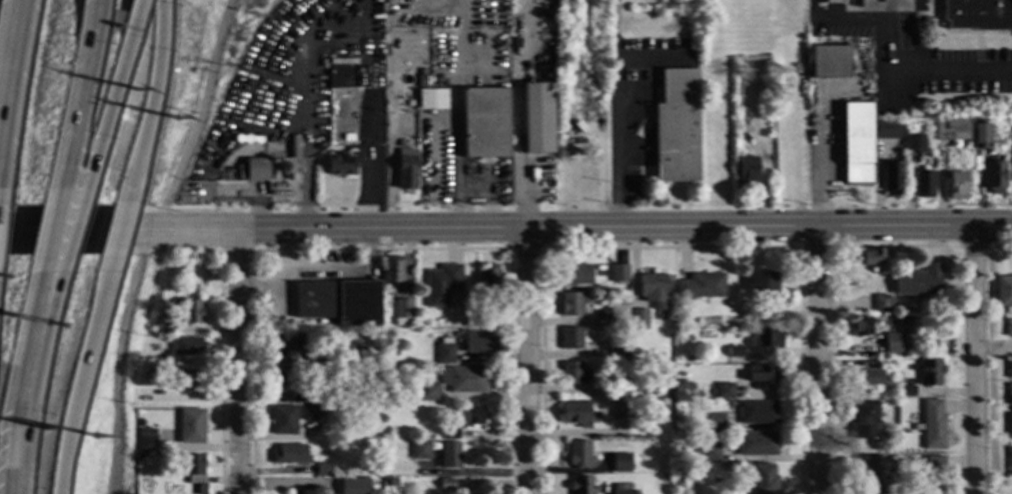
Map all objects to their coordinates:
road: (134, 13)
building: (978, 14)
road: (11, 61)
building: (828, 62)
road: (892, 73)
building: (337, 77)
building: (421, 82)
road: (80, 89)
power tower: (136, 91)
building: (431, 99)
road: (106, 105)
road: (151, 105)
power tower: (177, 118)
road: (198, 118)
road: (306, 119)
building: (537, 119)
building: (571, 120)
building: (911, 121)
building: (484, 122)
building: (745, 124)
building: (676, 127)
building: (927, 127)
building: (888, 129)
building: (950, 130)
road: (457, 132)
building: (980, 133)
building: (352, 142)
road: (612, 142)
building: (857, 143)
building: (914, 143)
building: (400, 144)
road: (820, 163)
building: (339, 165)
building: (256, 169)
building: (405, 169)
building: (746, 171)
building: (892, 178)
building: (993, 178)
building: (584, 181)
building: (922, 183)
building: (956, 186)
road: (279, 191)
road: (590, 230)
road: (84, 233)
road: (115, 244)
road: (970, 247)
road: (50, 249)
road: (61, 253)
building: (869, 258)
building: (391, 269)
building: (618, 273)
building: (574, 275)
building: (487, 279)
building: (761, 281)
building: (919, 281)
building: (441, 285)
building: (700, 286)
building: (653, 290)
building: (1003, 293)
building: (338, 302)
building: (570, 304)
building: (881, 304)
road: (829, 307)
building: (191, 312)
building: (401, 312)
building: (617, 314)
building: (637, 320)
building: (753, 320)
building: (470, 321)
building: (487, 321)
building: (681, 321)
building: (151, 325)
building: (860, 326)
building: (1008, 328)
building: (376, 338)
building: (572, 338)
building: (766, 339)
building: (322, 341)
building: (479, 343)
building: (893, 343)
building: (287, 344)
building: (186, 346)
building: (618, 349)
road: (994, 349)
building: (734, 351)
building: (444, 352)
road: (987, 357)
building: (152, 359)
road: (976, 360)
road: (119, 362)
road: (237, 362)
road: (528, 362)
road: (815, 362)
building: (878, 363)
building: (1009, 368)
building: (929, 372)
building: (139, 374)
building: (572, 374)
building: (682, 375)
building: (761, 375)
building: (622, 376)
building: (869, 378)
building: (189, 379)
building: (387, 379)
building: (464, 379)
building: (279, 382)
road: (78, 386)
building: (618, 390)
building: (905, 390)
building: (724, 391)
building: (424, 392)
building: (1009, 394)
building: (310, 396)
road: (21, 406)
building: (343, 409)
building: (638, 409)
building: (619, 411)
building: (310, 412)
building: (757, 412)
building: (575, 414)
building: (473, 416)
building: (863, 419)
building: (283, 420)
building: (713, 422)
building: (1009, 423)
building: (932, 425)
building: (191, 426)
power tower: (45, 431)
building: (449, 434)
power tower: (98, 438)
building: (146, 440)
building: (664, 444)
building: (755, 444)
building: (653, 450)
building: (889, 450)
building: (419, 451)
building: (707, 452)
building: (578, 454)
building: (290, 455)
building: (449, 455)
building: (693, 455)
building: (152, 457)
building: (137, 458)
building: (635, 458)
building: (892, 460)
building: (620, 463)
building: (1009, 463)
building: (128, 464)
building: (934, 465)
building: (192, 468)
building: (323, 469)
building: (875, 470)
building: (687, 475)
building: (762, 479)
building: (184, 481)
building: (446, 484)
building: (342, 485)
building: (580, 485)
building: (199, 489)
building: (619, 489)
building: (945, 489)
building: (307, 490)
building: (876, 490)
building: (633, 492)

